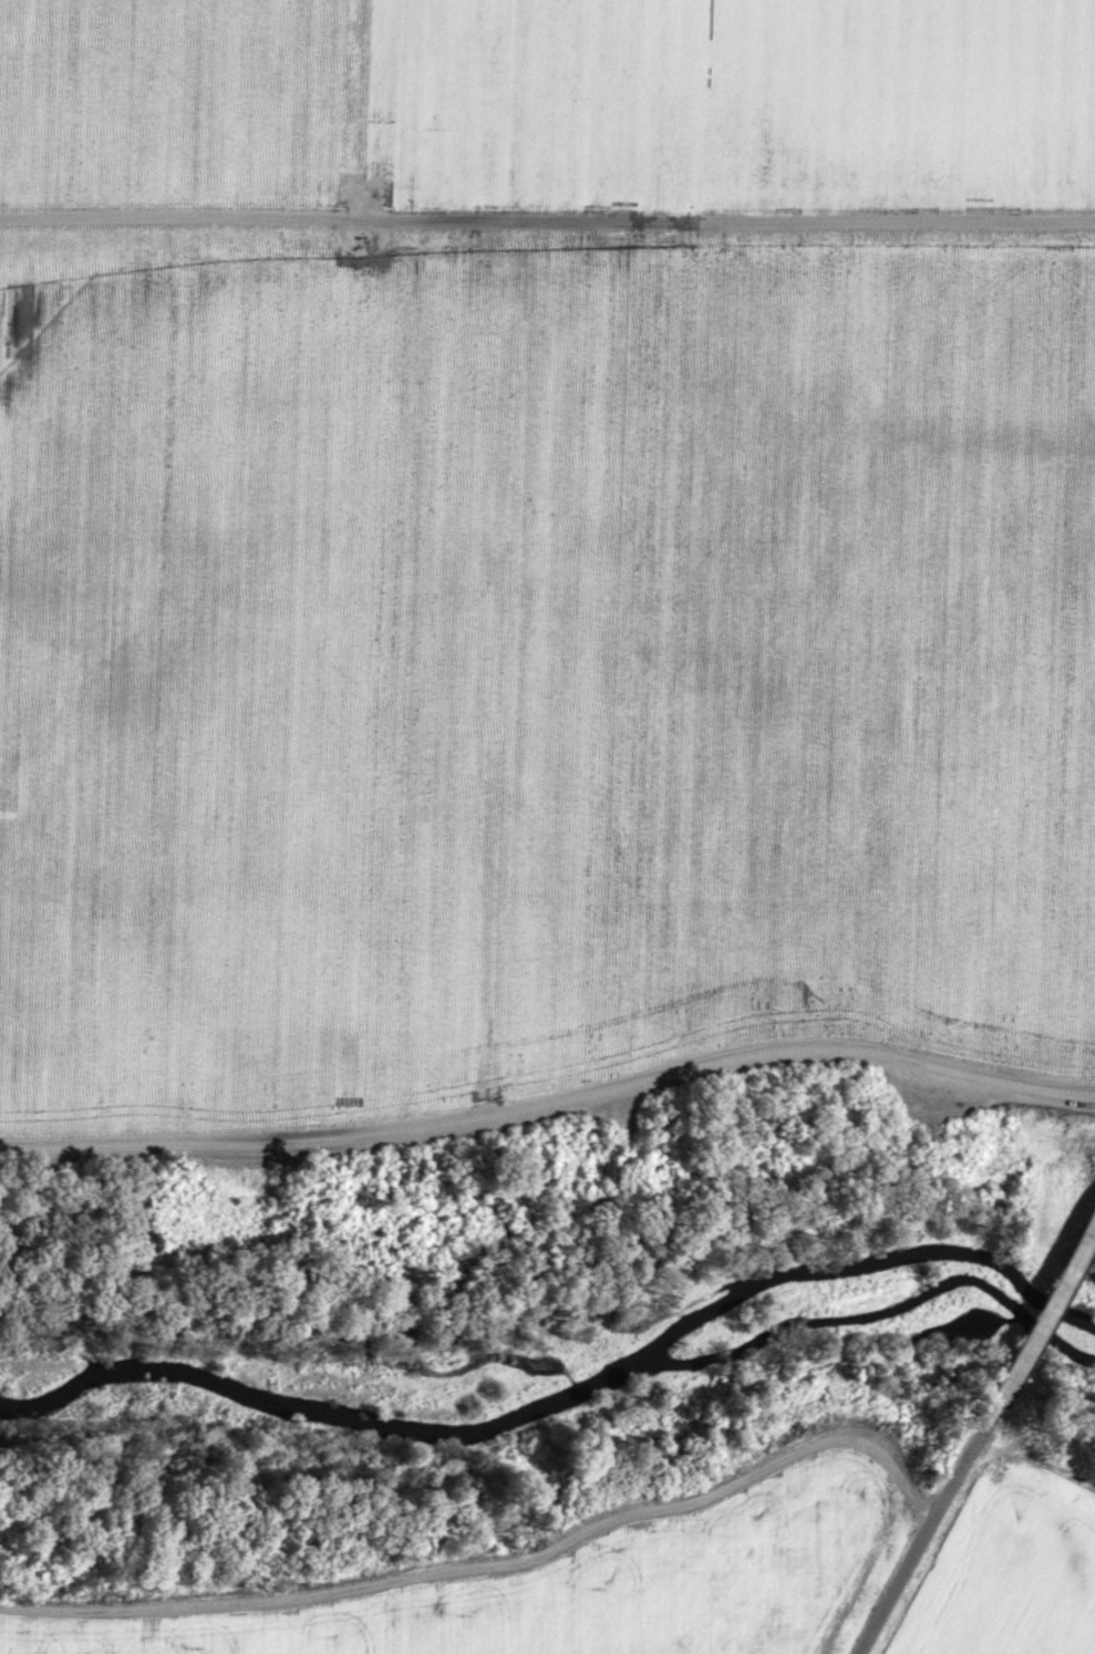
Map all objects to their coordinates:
road: (547, 221)
road: (551, 1107)
road: (1041, 1314)
river: (566, 1395)
road: (922, 1534)

